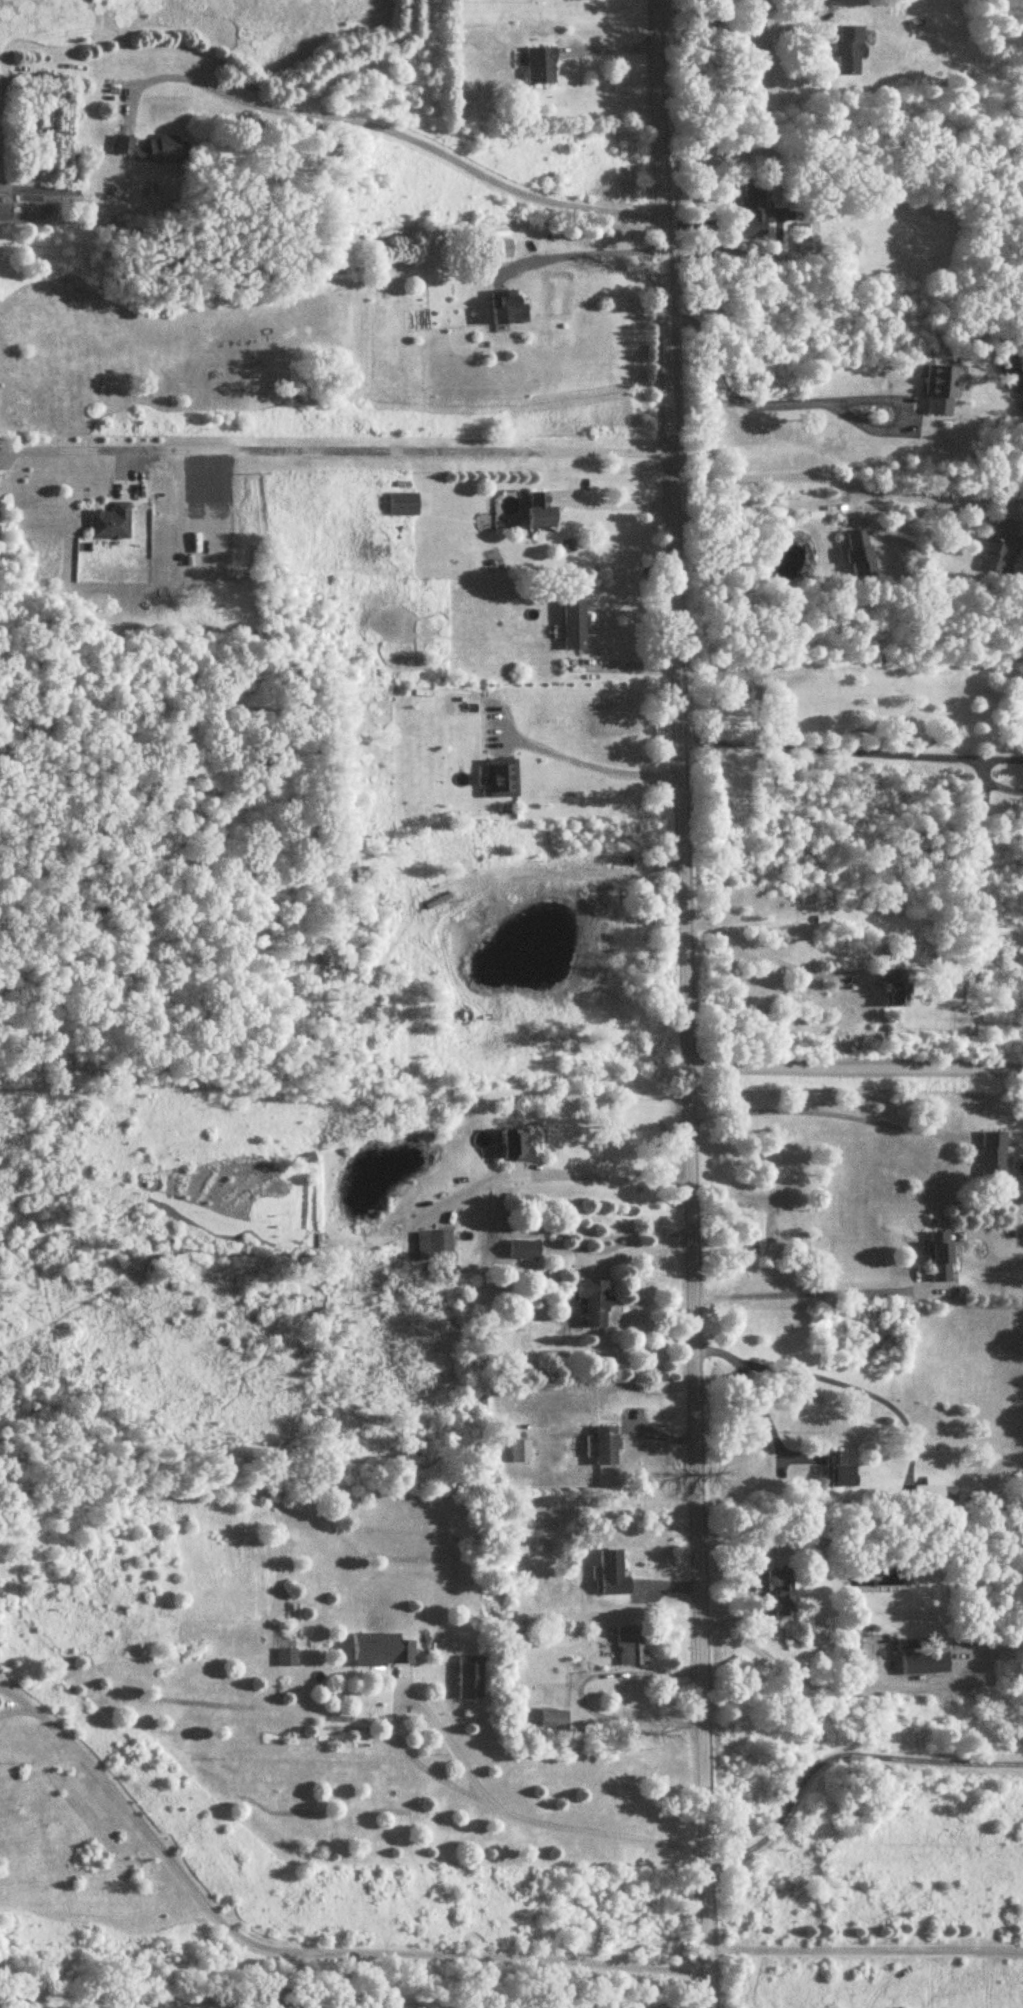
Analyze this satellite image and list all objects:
road: (737, 30)
building: (849, 52)
building: (542, 66)
road: (405, 134)
building: (152, 151)
building: (753, 209)
building: (807, 239)
building: (500, 250)
road: (574, 254)
building: (509, 310)
building: (941, 391)
road: (760, 401)
road: (333, 448)
road: (828, 475)
road: (765, 498)
road: (615, 499)
building: (403, 505)
building: (541, 512)
building: (110, 524)
building: (998, 546)
building: (860, 557)
building: (574, 627)
road: (621, 666)
road: (827, 745)
road: (586, 761)
building: (502, 779)
road: (764, 950)
building: (897, 989)
road: (683, 1003)
road: (853, 1067)
road: (821, 1109)
building: (517, 1145)
building: (994, 1158)
road: (562, 1172)
building: (434, 1246)
building: (526, 1250)
road: (636, 1250)
building: (942, 1257)
road: (802, 1294)
building: (596, 1302)
road: (853, 1389)
road: (757, 1400)
building: (608, 1447)
building: (520, 1452)
building: (840, 1471)
building: (935, 1492)
building: (613, 1575)
building: (780, 1590)
building: (912, 1645)
building: (631, 1647)
building: (383, 1650)
building: (287, 1658)
building: (926, 1664)
road: (795, 1677)
building: (471, 1678)
road: (578, 1695)
road: (18, 1696)
road: (16, 1708)
building: (554, 1719)
road: (841, 1748)
road: (461, 1784)
road: (864, 1945)
road: (318, 1950)

